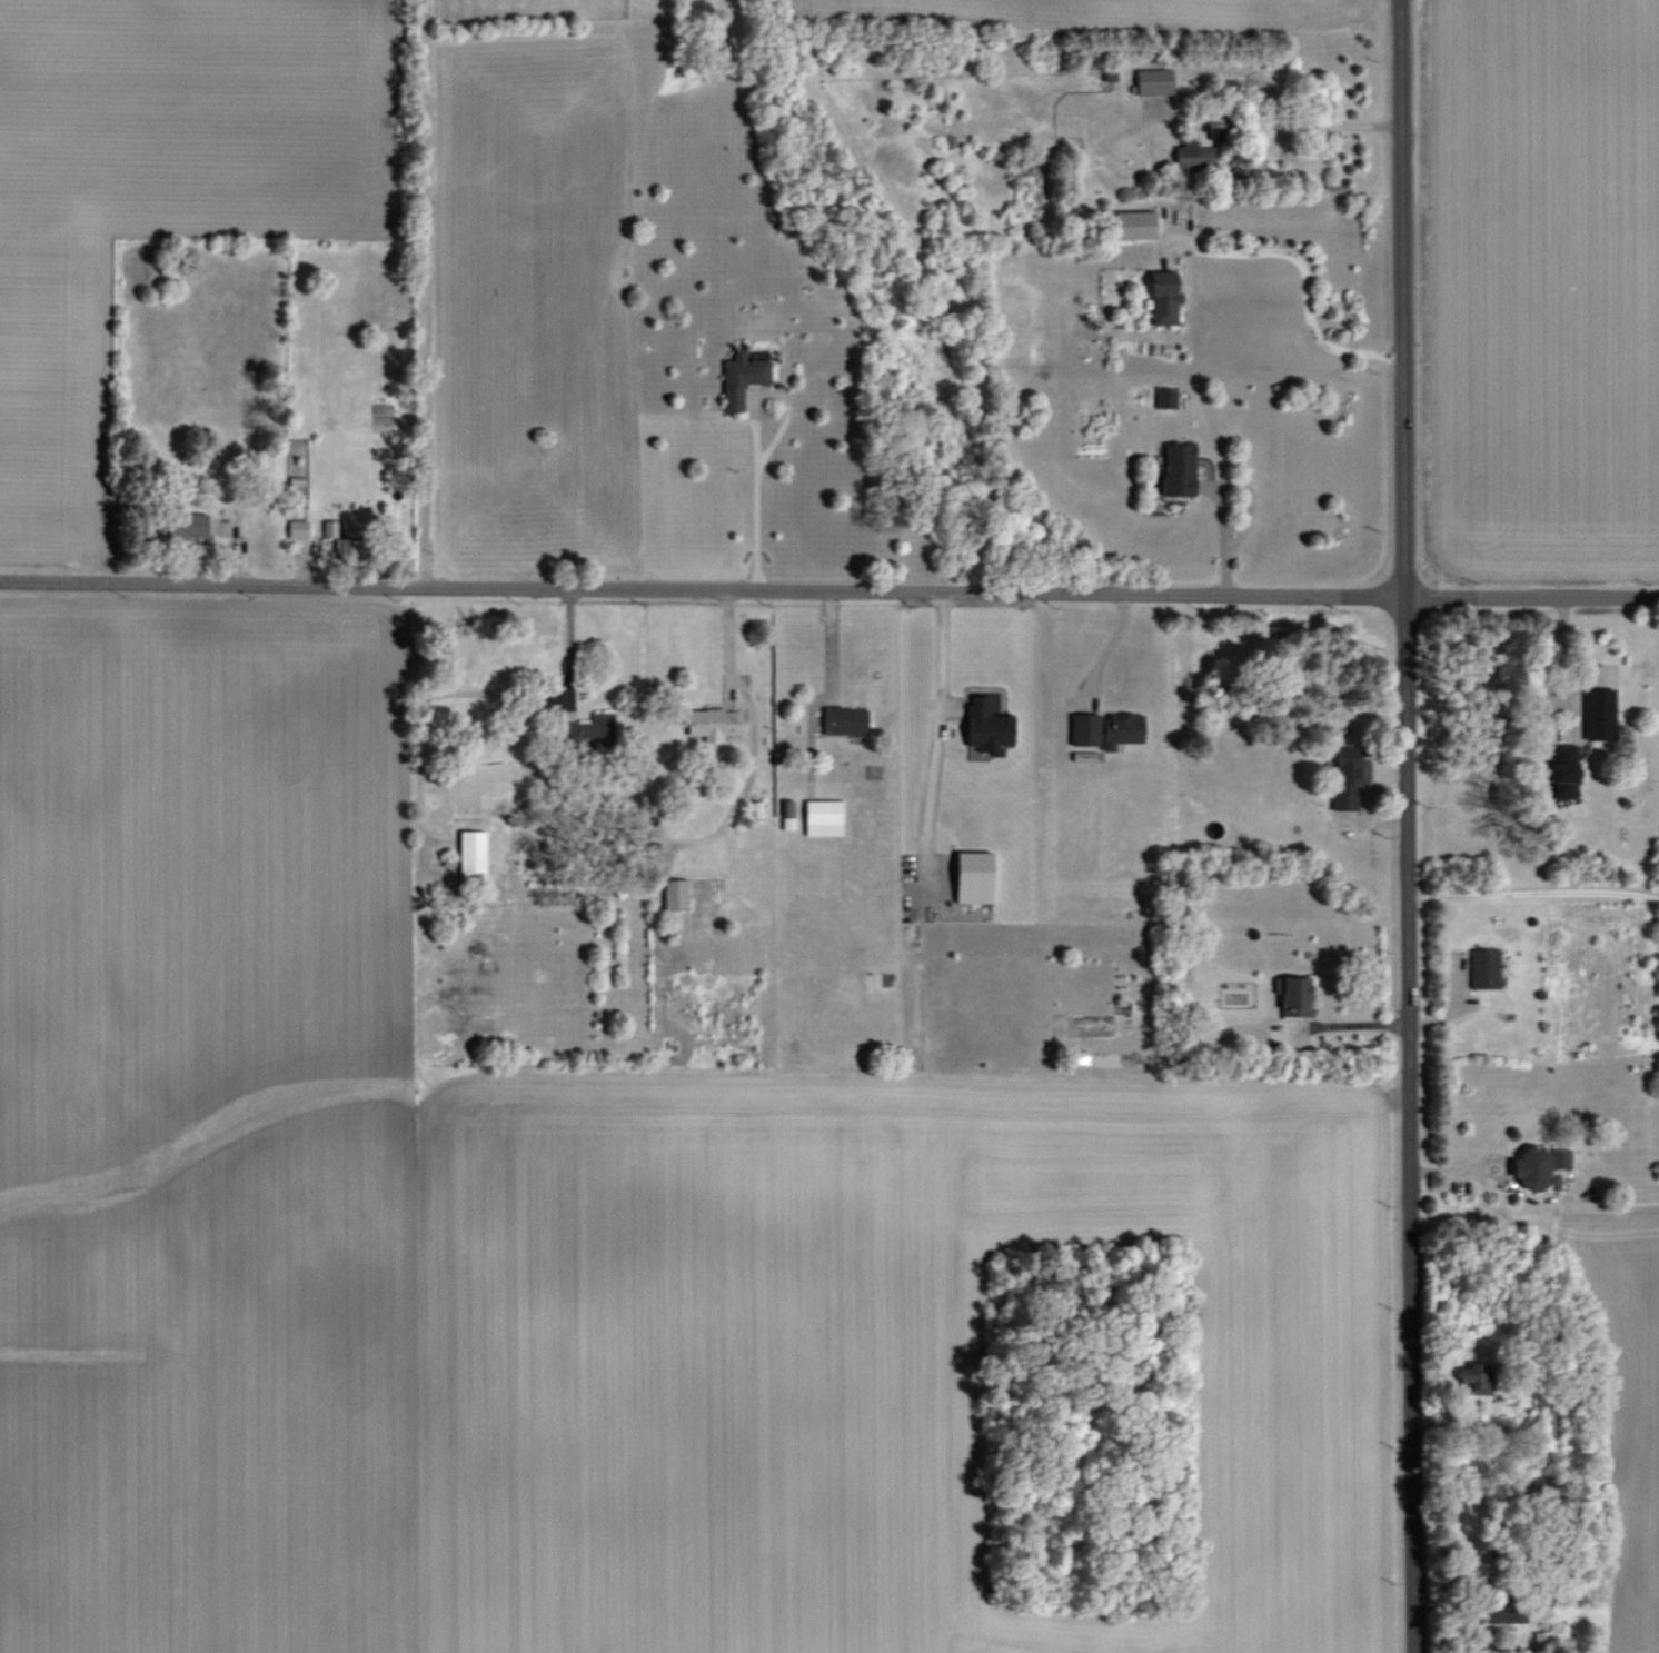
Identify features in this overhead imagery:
building: (1154, 81)
road: (1281, 126)
building: (1194, 155)
road: (1402, 178)
building: (1135, 225)
road: (1308, 279)
road: (424, 295)
building: (1164, 298)
building: (742, 377)
building: (1166, 398)
road: (756, 448)
building: (1179, 469)
building: (188, 525)
building: (298, 529)
road: (1223, 538)
road: (828, 594)
road: (1564, 660)
building: (1600, 714)
building: (845, 720)
building: (712, 724)
building: (987, 728)
building: (1106, 729)
building: (590, 731)
road: (940, 739)
building: (1566, 771)
building: (1347, 778)
building: (788, 814)
building: (823, 817)
building: (473, 855)
building: (974, 877)
road: (1532, 893)
building: (675, 894)
building: (1484, 968)
building: (1295, 997)
road: (1407, 1004)
building: (1539, 1166)
building: (1477, 1380)
building: (1502, 1613)
building: (1542, 1640)

